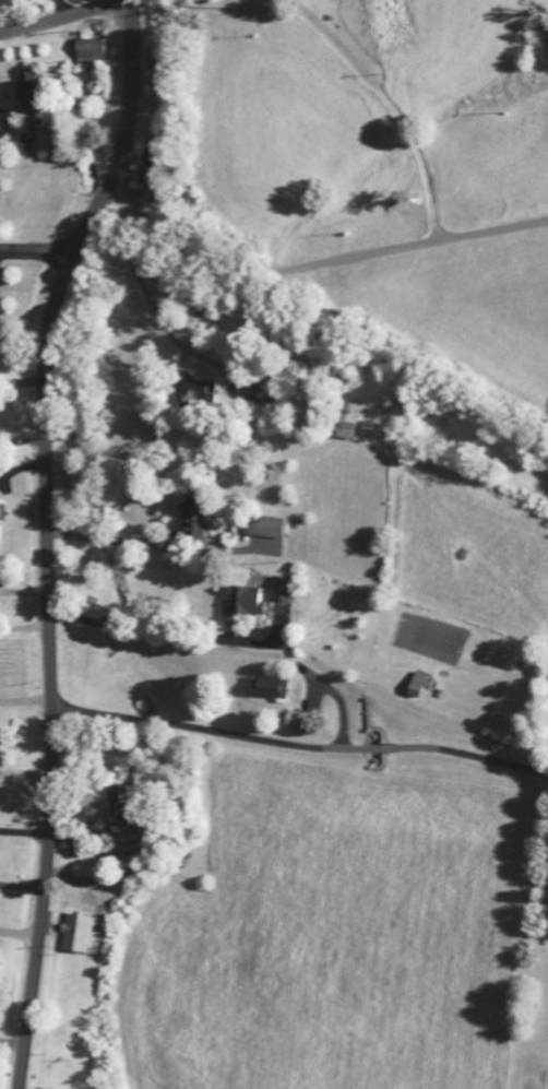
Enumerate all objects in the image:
road: (64, 16)
building: (86, 52)
building: (24, 91)
road: (154, 92)
building: (189, 394)
building: (250, 398)
building: (342, 424)
building: (0, 504)
building: (184, 514)
building: (259, 531)
road: (46, 536)
building: (275, 592)
building: (238, 604)
building: (412, 688)
building: (263, 691)
building: (286, 723)
building: (90, 808)
building: (75, 937)
road: (10, 1062)

